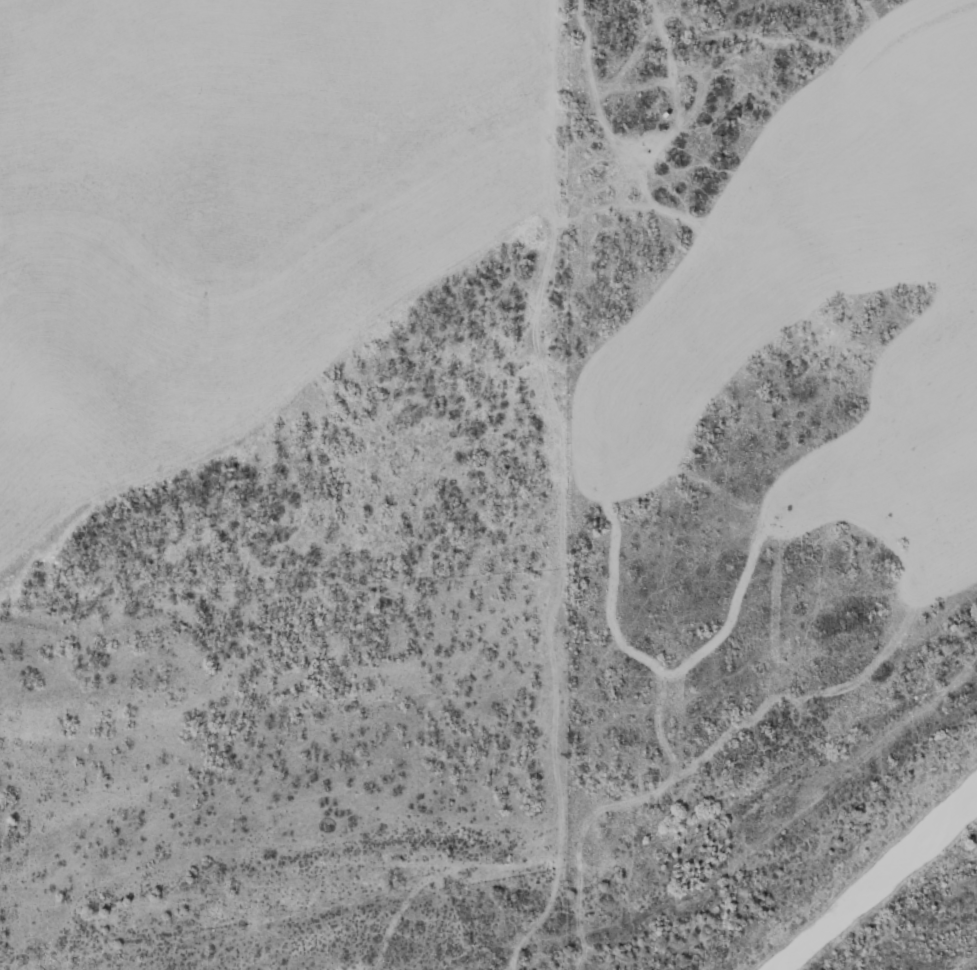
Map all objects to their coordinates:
road: (559, 484)

